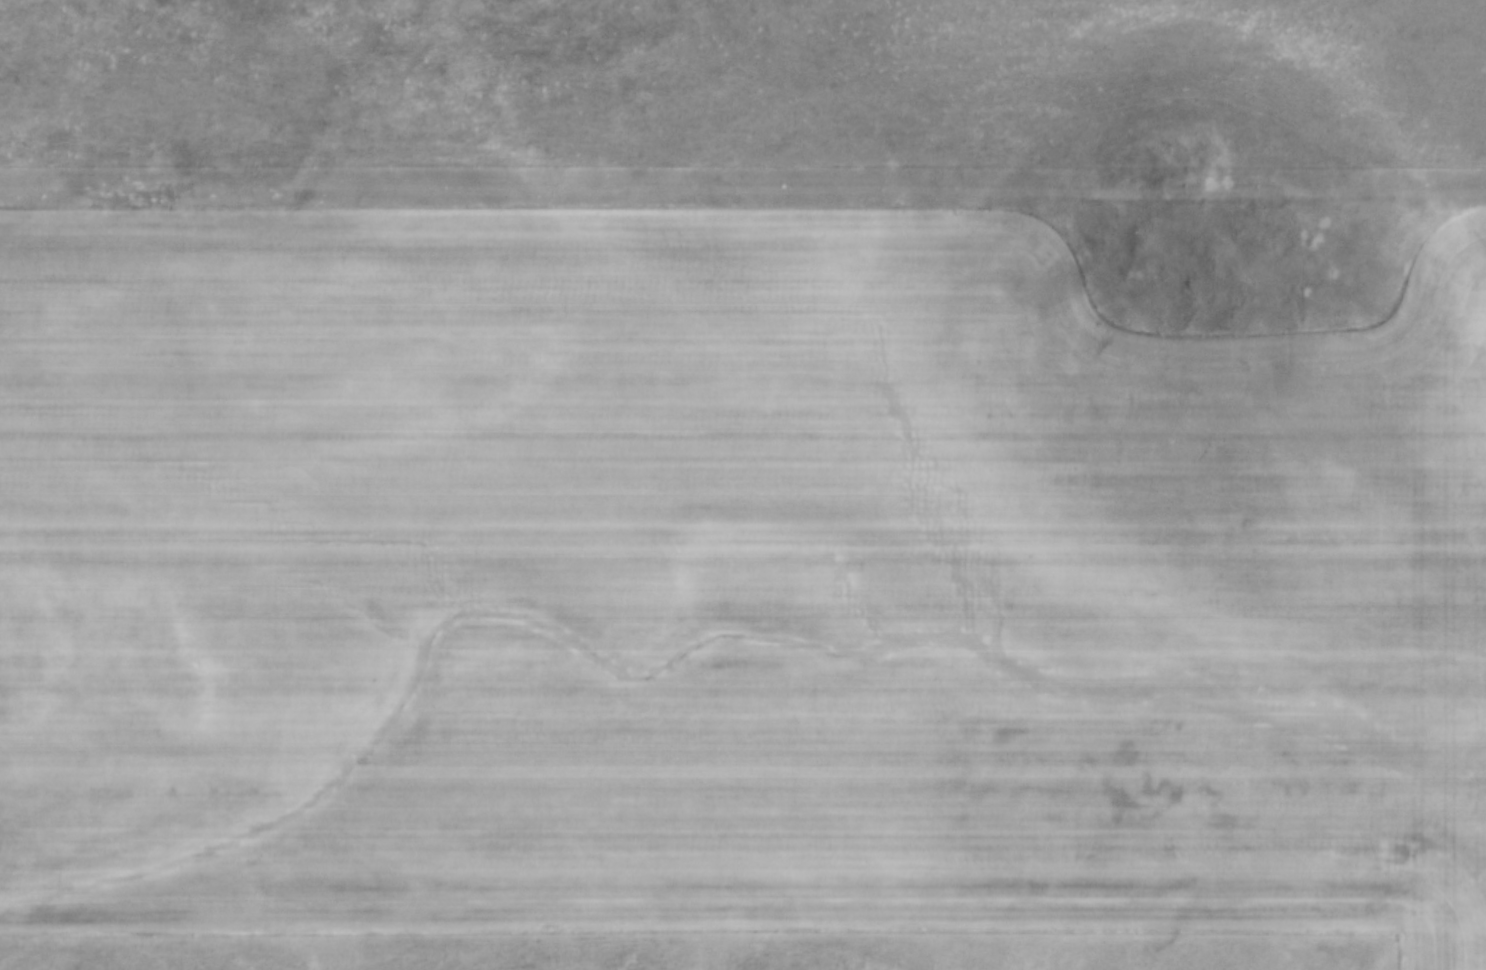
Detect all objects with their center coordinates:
road: (742, 199)

